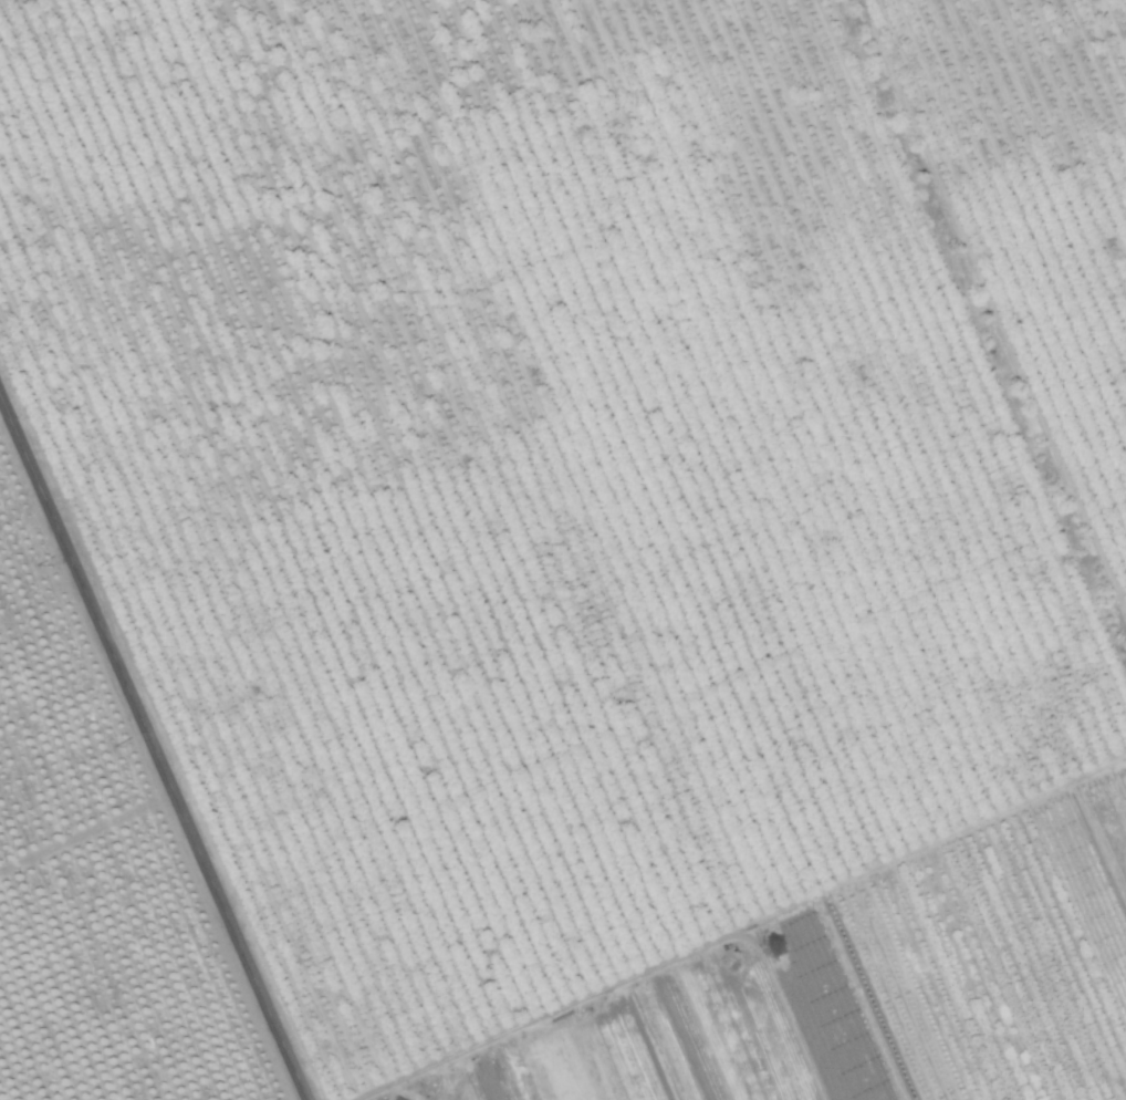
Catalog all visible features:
road: (150, 756)
road: (739, 927)

